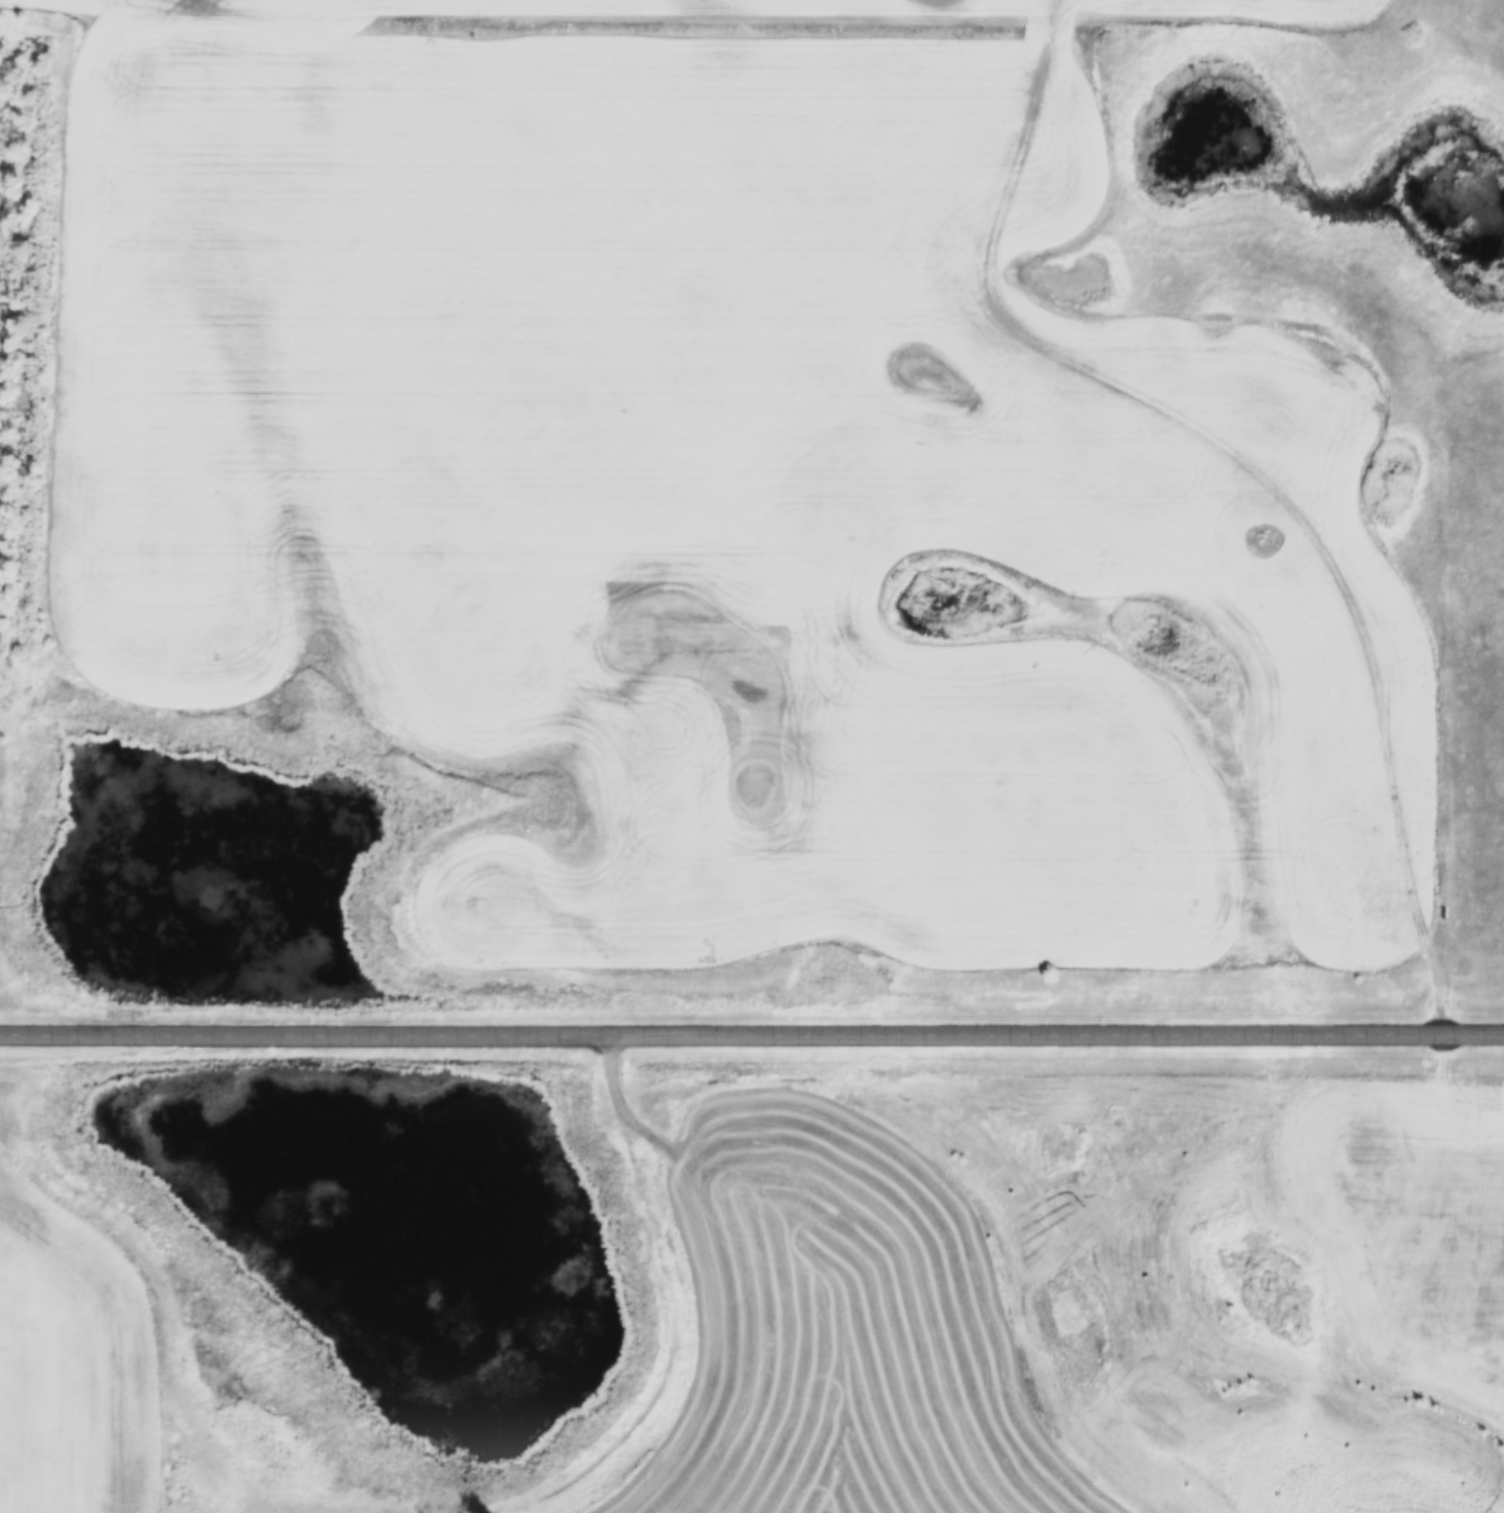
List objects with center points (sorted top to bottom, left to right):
road: (752, 1035)
road: (675, 1311)

